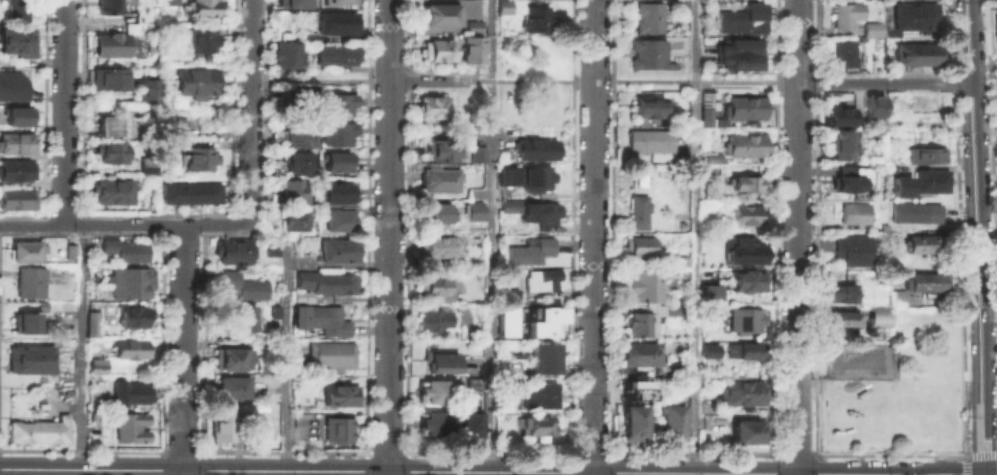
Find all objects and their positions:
building: (339, 2)
building: (170, 3)
building: (293, 3)
building: (504, 6)
building: (115, 7)
building: (205, 9)
building: (16, 11)
building: (440, 14)
building: (843, 16)
building: (647, 17)
building: (911, 17)
building: (742, 18)
building: (535, 19)
building: (336, 22)
building: (472, 26)
building: (874, 28)
building: (134, 29)
building: (996, 29)
building: (121, 31)
building: (309, 37)
building: (204, 41)
building: (17, 42)
building: (115, 47)
building: (471, 49)
building: (436, 50)
building: (334, 52)
building: (842, 53)
building: (286, 54)
building: (648, 54)
building: (740, 54)
building: (914, 54)
building: (110, 80)
road: (335, 80)
road: (430, 81)
road: (635, 81)
road: (888, 82)
building: (200, 84)
building: (12, 87)
building: (148, 92)
building: (293, 98)
building: (924, 103)
building: (336, 104)
building: (647, 105)
building: (431, 106)
building: (742, 108)
building: (705, 109)
road: (251, 111)
road: (63, 112)
building: (874, 112)
building: (18, 117)
building: (838, 117)
building: (176, 124)
building: (118, 127)
building: (337, 133)
building: (299, 137)
building: (648, 140)
building: (743, 144)
building: (16, 145)
building: (840, 145)
building: (535, 149)
building: (438, 150)
building: (477, 153)
building: (113, 154)
building: (926, 156)
building: (200, 157)
building: (504, 157)
building: (714, 158)
building: (296, 161)
building: (335, 161)
building: (146, 164)
building: (16, 171)
building: (506, 174)
building: (535, 178)
building: (438, 180)
building: (746, 183)
building: (845, 183)
building: (920, 183)
building: (292, 190)
building: (338, 192)
building: (116, 194)
building: (194, 196)
building: (16, 199)
building: (508, 205)
building: (473, 210)
building: (915, 210)
building: (437, 212)
building: (637, 212)
building: (539, 213)
building: (747, 213)
building: (853, 213)
building: (294, 219)
building: (339, 219)
road: (125, 224)
building: (897, 229)
road: (389, 236)
road: (491, 237)
road: (593, 237)
road: (695, 237)
road: (798, 237)
road: (985, 237)
building: (636, 243)
building: (928, 244)
building: (434, 246)
building: (739, 246)
building: (123, 247)
building: (855, 248)
building: (230, 249)
building: (337, 249)
building: (25, 250)
building: (68, 250)
building: (271, 251)
building: (529, 251)
building: (744, 277)
building: (542, 278)
building: (28, 280)
building: (128, 281)
building: (928, 281)
building: (333, 283)
building: (242, 284)
building: (640, 284)
building: (434, 285)
building: (709, 291)
building: (508, 292)
building: (841, 293)
building: (300, 295)
building: (900, 297)
building: (672, 308)
building: (543, 313)
building: (132, 314)
building: (239, 315)
building: (465, 315)
building: (298, 316)
building: (432, 316)
building: (878, 316)
building: (745, 317)
building: (26, 318)
building: (841, 318)
building: (326, 319)
building: (505, 320)
building: (639, 321)
building: (90, 322)
building: (541, 328)
building: (129, 346)
building: (708, 348)
building: (746, 348)
road: (81, 349)
road: (184, 349)
building: (637, 352)
building: (329, 353)
building: (540, 354)
road: (285, 355)
building: (229, 356)
building: (28, 357)
building: (858, 358)
building: (441, 362)
building: (96, 363)
building: (266, 367)
building: (60, 380)
building: (472, 382)
building: (232, 385)
building: (625, 388)
building: (675, 388)
building: (743, 389)
building: (131, 390)
building: (431, 390)
building: (337, 394)
building: (534, 394)
building: (670, 418)
building: (632, 420)
building: (469, 422)
building: (433, 423)
building: (534, 423)
building: (221, 424)
building: (128, 425)
building: (336, 428)
building: (36, 429)
building: (748, 429)
road: (996, 451)
road: (982, 452)
road: (965, 454)
road: (965, 466)
road: (498, 472)
road: (387, 473)
traffic signals: (988, 473)
road: (899, 474)

